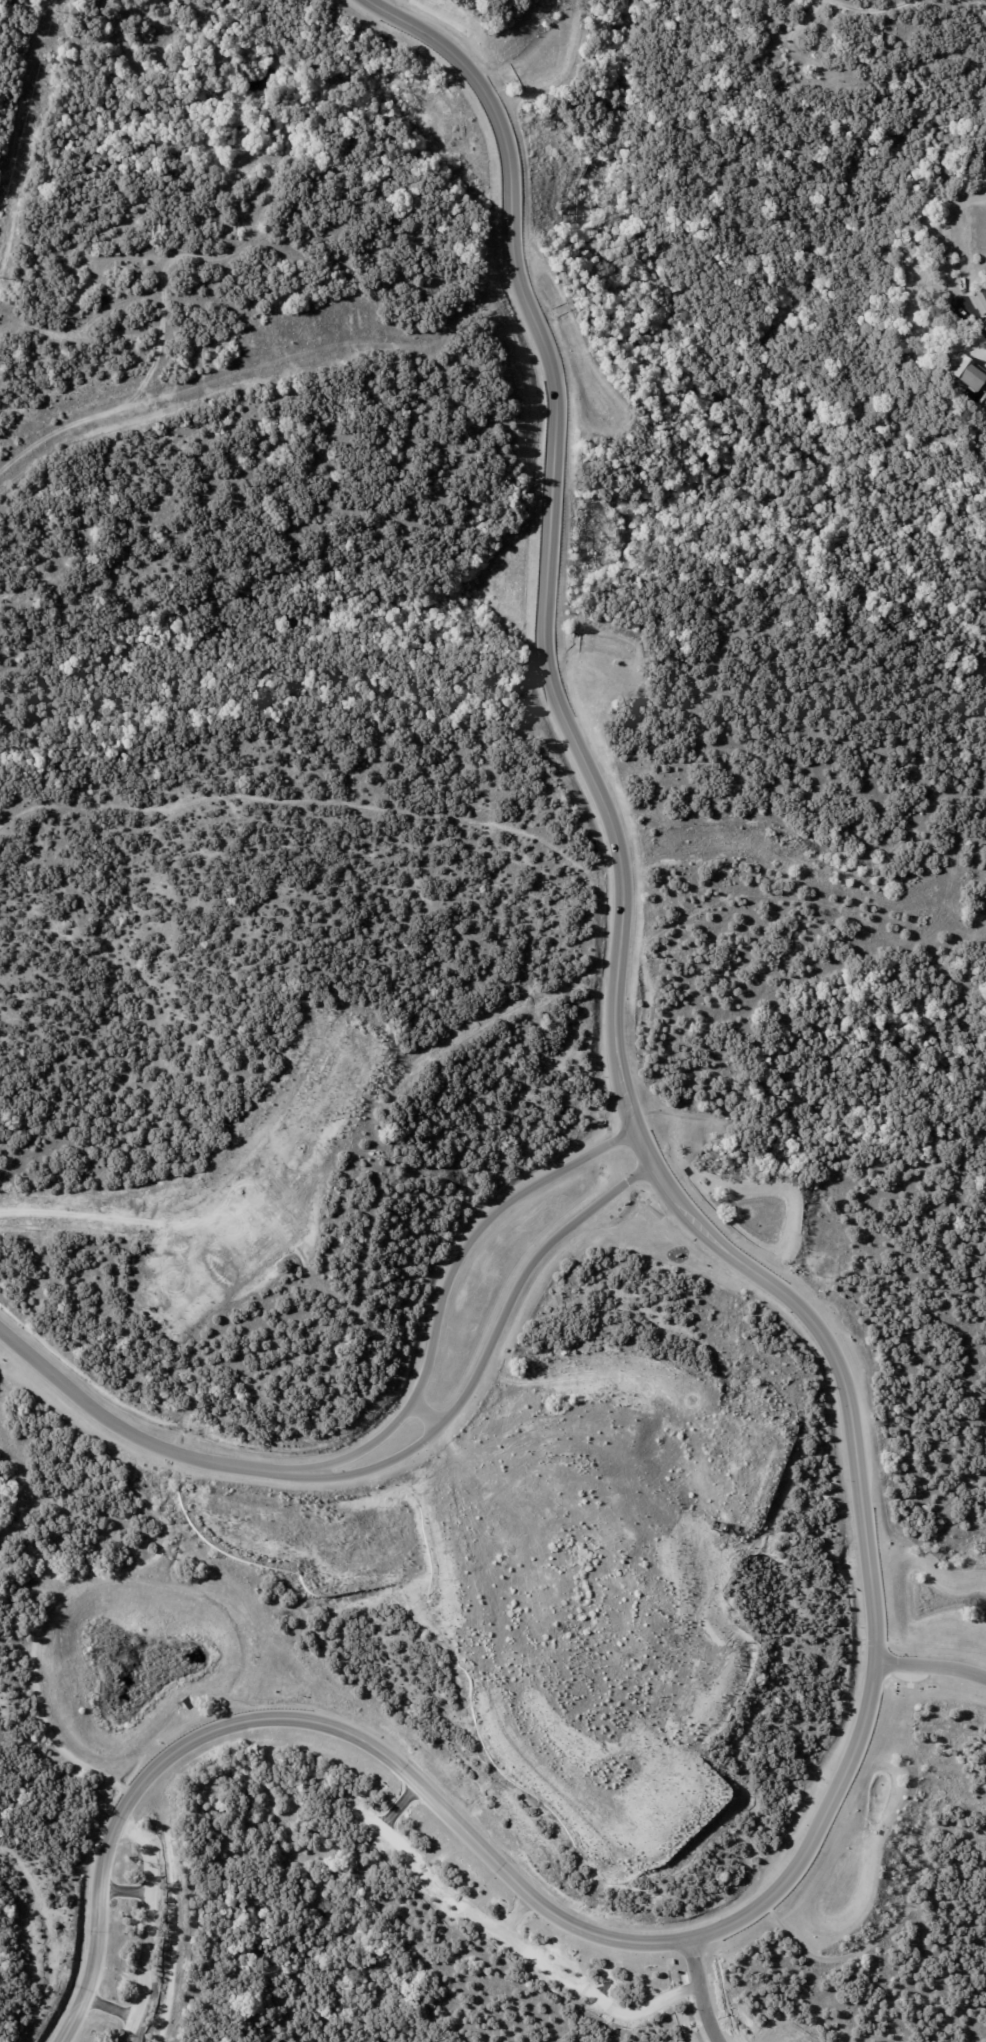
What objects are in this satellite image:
power tower: (56, 10)
road: (945, 260)
building: (979, 297)
building: (966, 370)
road: (172, 382)
road: (613, 833)
road: (197, 1197)
road: (443, 1300)
road: (486, 1356)
road: (436, 1425)
road: (126, 1432)
building: (144, 1486)
road: (933, 1667)
road: (451, 1820)
road: (700, 1992)

